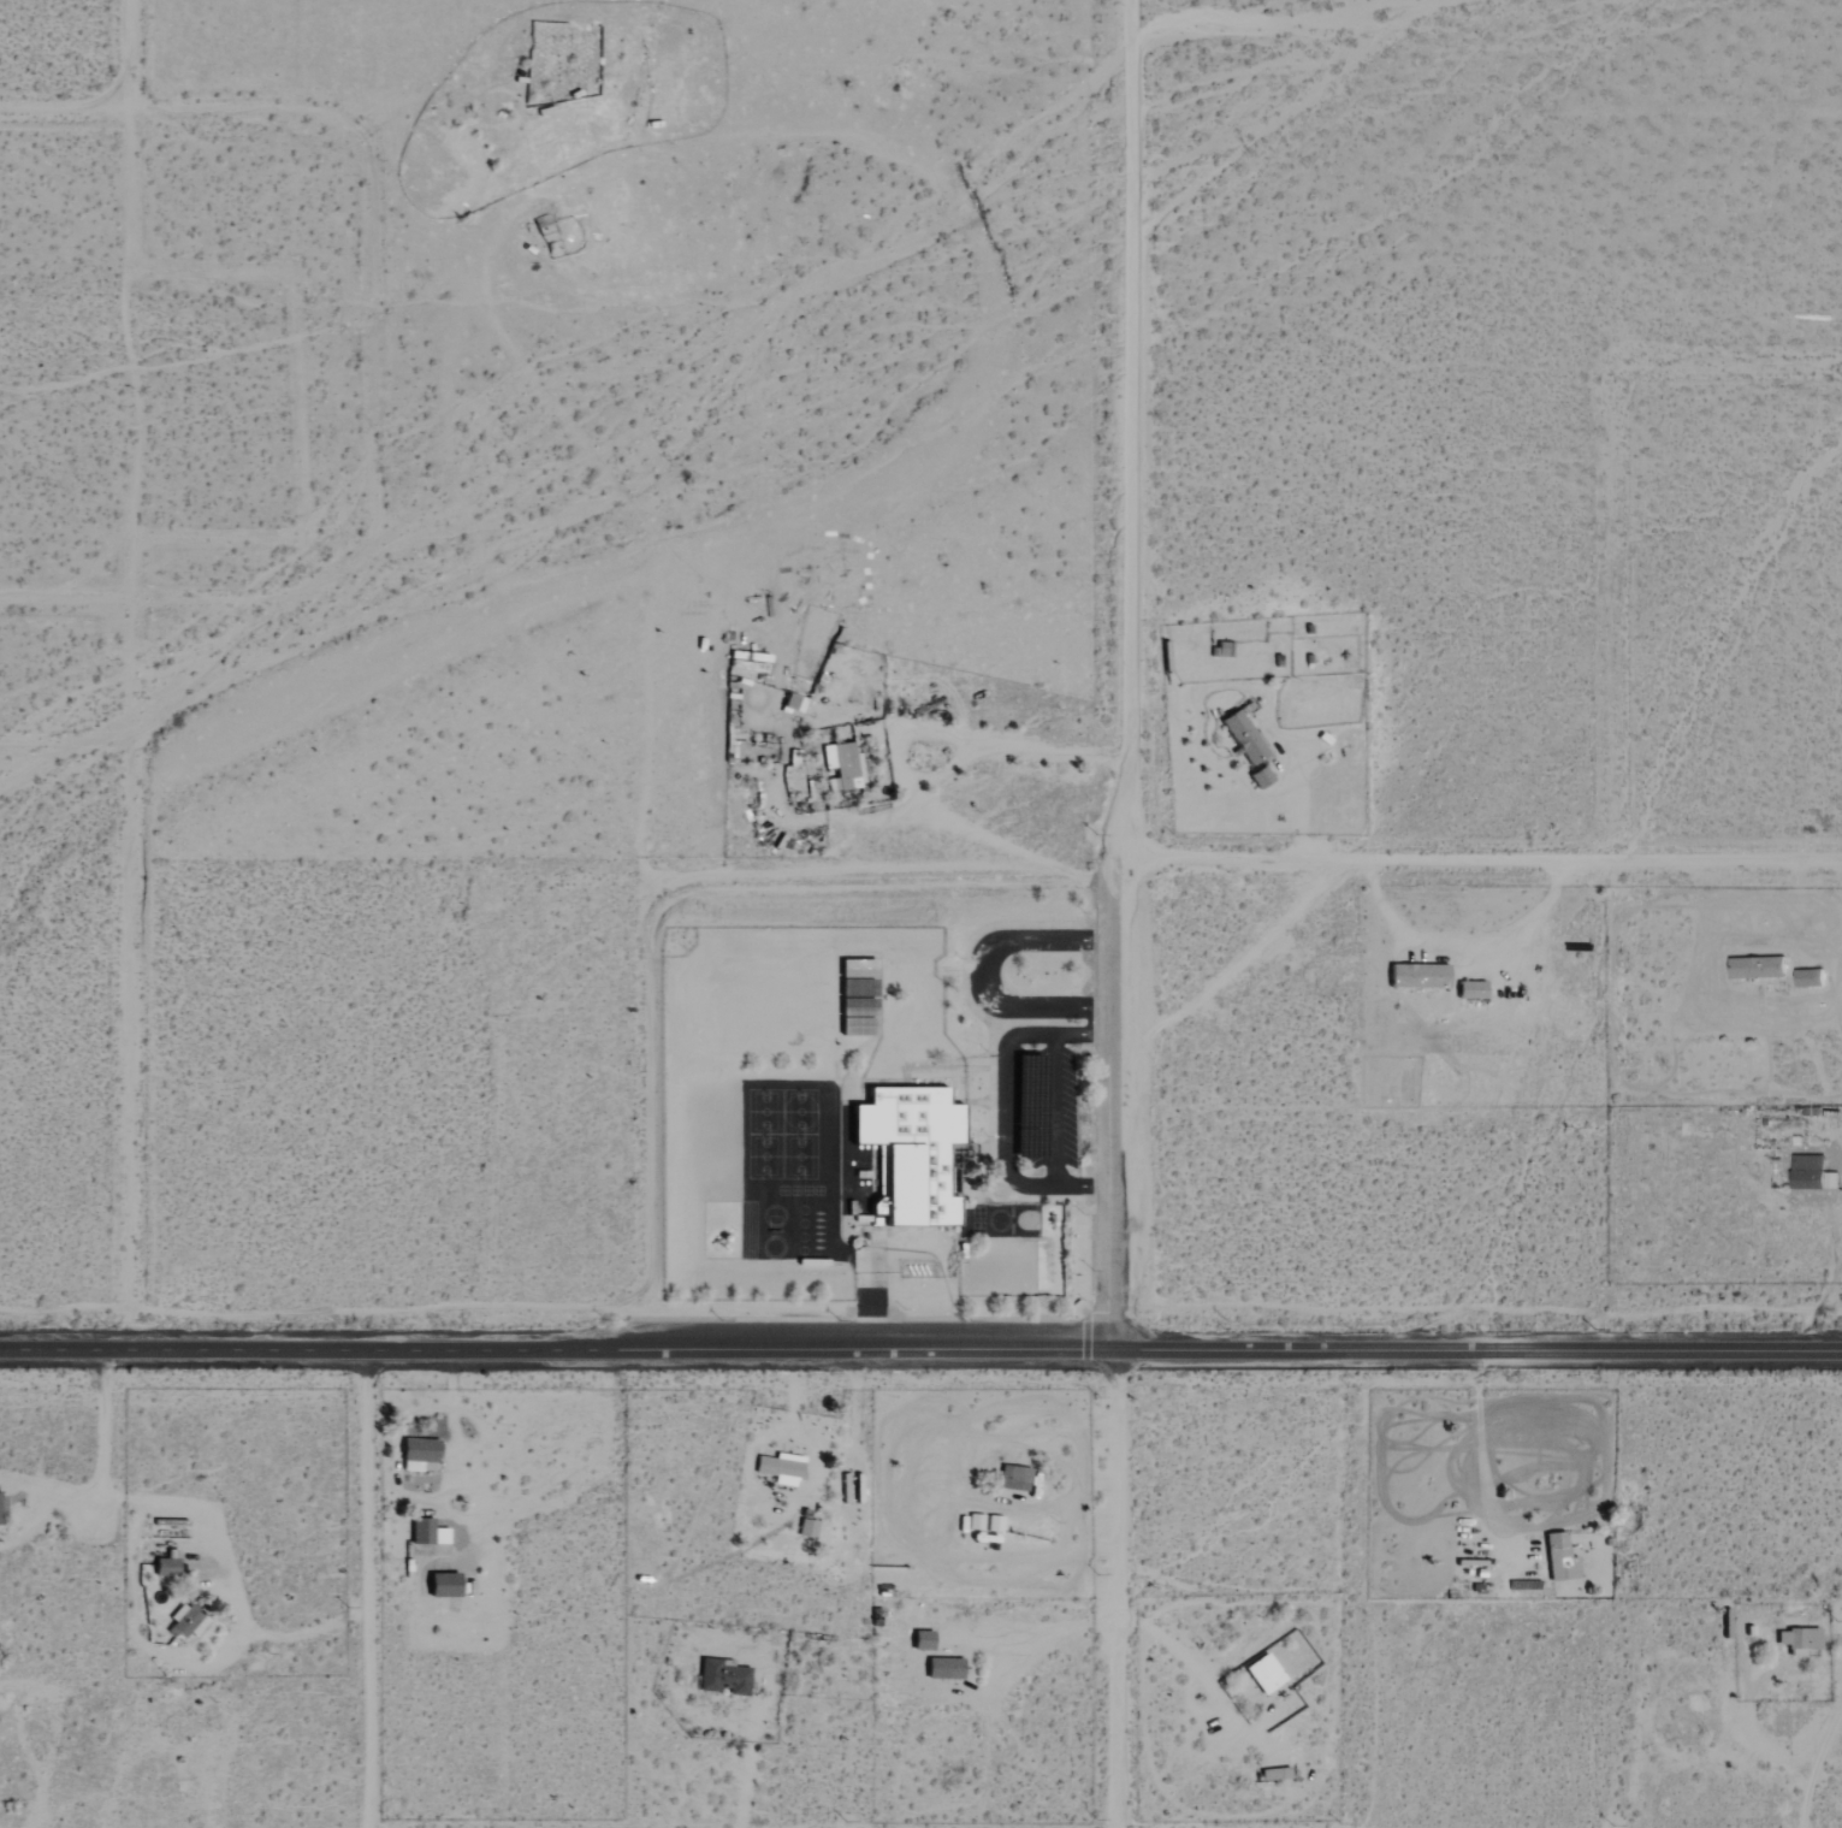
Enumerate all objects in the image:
road: (135, 58)
road: (179, 118)
road: (1133, 430)
road: (171, 604)
building: (794, 703)
building: (1243, 738)
building: (843, 764)
building: (1260, 777)
road: (1476, 863)
building: (1757, 968)
road: (985, 976)
building: (1418, 976)
building: (1807, 978)
road: (137, 980)
building: (1470, 990)
building: (858, 1018)
road: (1109, 1104)
road: (1007, 1107)
road: (1056, 1111)
building: (908, 1153)
building: (1811, 1173)
park: (790, 1175)
road: (920, 1349)
building: (781, 1468)
building: (1014, 1478)
building: (807, 1528)
building: (1560, 1557)
road: (1113, 1587)
road: (368, 1590)
building: (188, 1621)
building: (923, 1639)
building: (1799, 1640)
building: (944, 1668)
building: (1264, 1673)
building: (723, 1676)
building: (1275, 1774)

